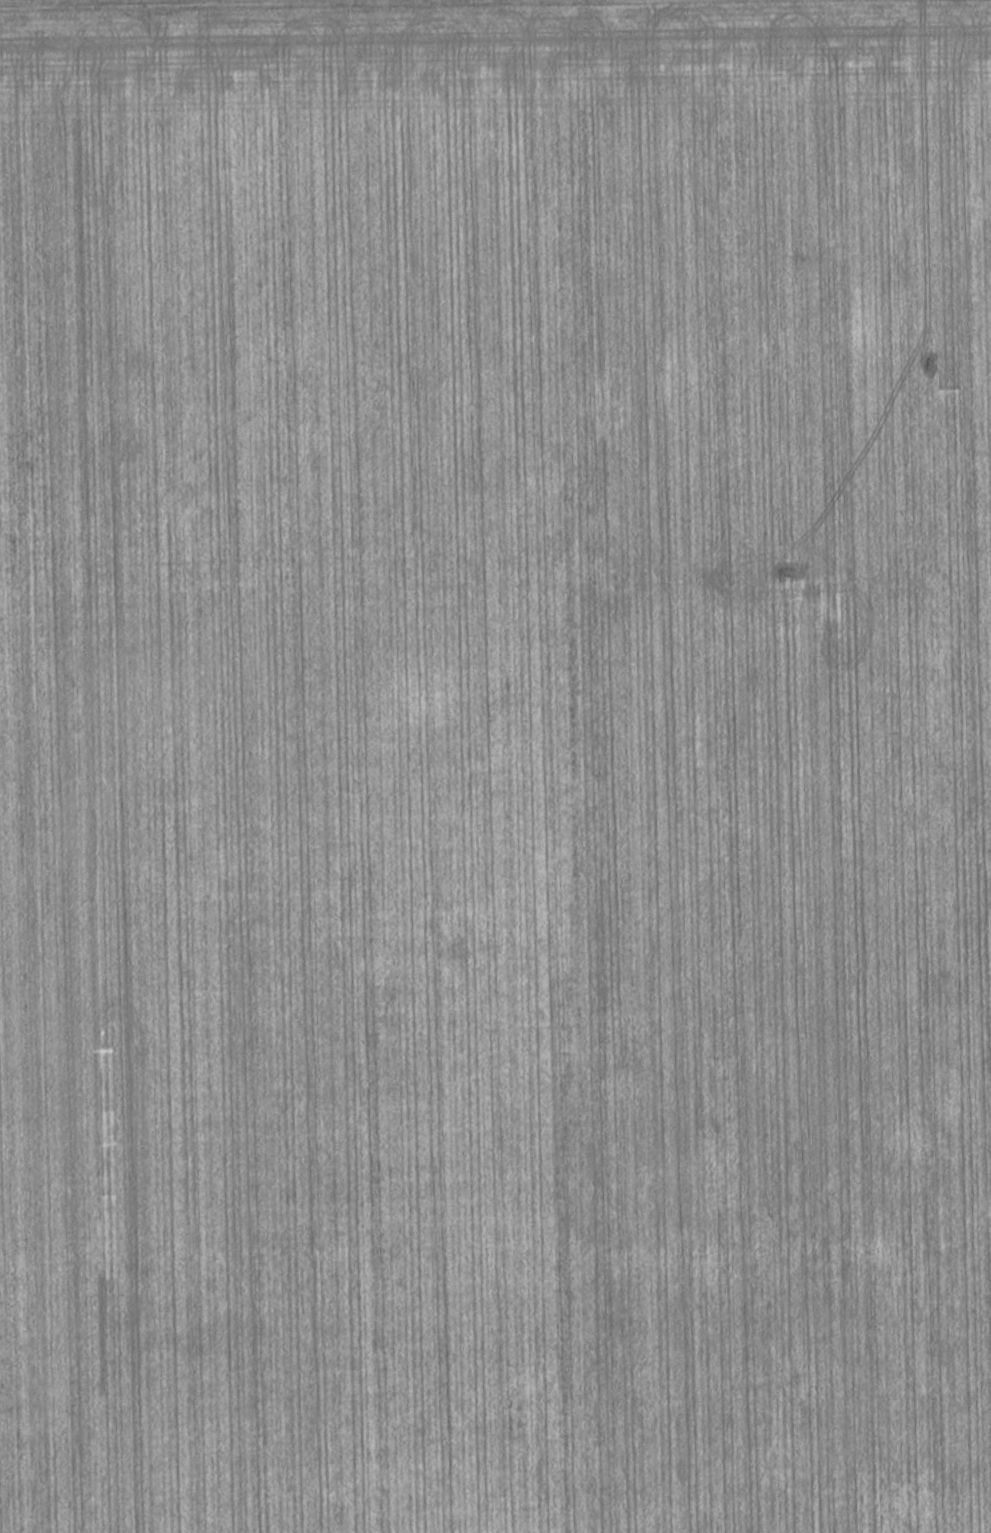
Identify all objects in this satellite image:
crop: (496, 772)

